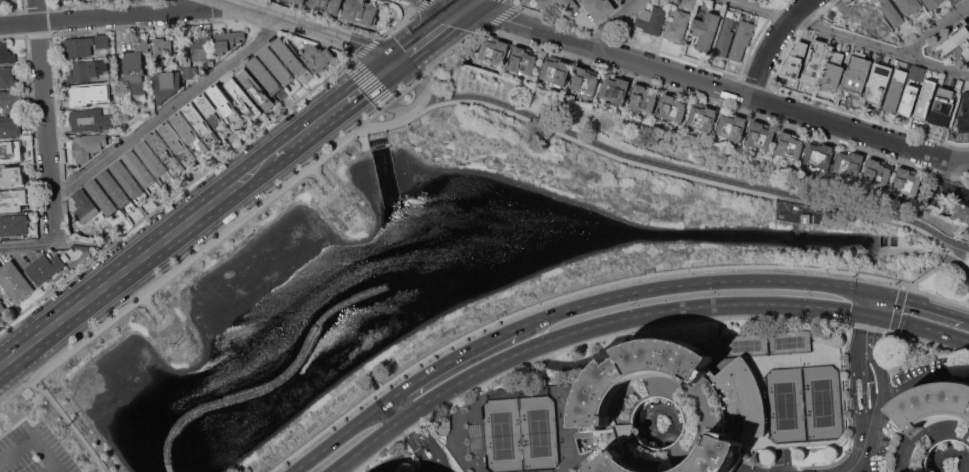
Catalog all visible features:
building: (758, 0)
building: (300, 1)
building: (955, 1)
road: (518, 2)
building: (2, 3)
road: (457, 3)
road: (473, 3)
building: (689, 3)
building: (932, 3)
building: (327, 5)
road: (421, 5)
building: (909, 5)
building: (569, 6)
traffic signals: (469, 7)
building: (599, 8)
building: (361, 12)
road: (506, 12)
building: (892, 13)
road: (114, 14)
building: (862, 15)
building: (651, 19)
road: (616, 20)
building: (968, 22)
road: (397, 24)
building: (677, 25)
road: (311, 28)
building: (705, 30)
road: (938, 33)
road: (429, 36)
building: (725, 37)
road: (850, 38)
building: (741, 39)
building: (227, 40)
road: (313, 41)
building: (100, 42)
building: (958, 42)
road: (772, 43)
building: (78, 47)
road: (367, 47)
building: (161, 48)
building: (201, 48)
building: (495, 52)
building: (6, 55)
building: (317, 58)
building: (795, 59)
building: (522, 60)
building: (292, 61)
building: (813, 61)
building: (136, 65)
traffic signals: (390, 65)
building: (277, 66)
building: (556, 70)
building: (87, 71)
building: (833, 71)
building: (190, 73)
road: (378, 73)
building: (917, 73)
building: (857, 74)
building: (265, 76)
building: (7, 77)
building: (584, 79)
road: (368, 83)
building: (879, 84)
building: (166, 85)
road: (718, 86)
building: (614, 89)
building: (896, 89)
building: (257, 90)
building: (87, 96)
building: (243, 98)
building: (642, 98)
building: (909, 99)
building: (925, 99)
building: (10, 101)
building: (226, 105)
building: (672, 107)
building: (942, 107)
road: (167, 108)
building: (964, 114)
building: (214, 115)
road: (405, 115)
building: (702, 117)
road: (45, 121)
building: (89, 121)
road: (315, 122)
building: (202, 124)
building: (9, 126)
building: (731, 126)
building: (189, 133)
building: (760, 136)
building: (177, 142)
building: (789, 145)
building: (88, 146)
building: (165, 152)
building: (11, 153)
building: (820, 154)
building: (151, 159)
building: (849, 163)
road: (676, 166)
building: (139, 168)
road: (949, 170)
building: (877, 172)
road: (318, 174)
building: (12, 176)
building: (126, 178)
building: (907, 182)
building: (114, 187)
road: (954, 189)
road: (177, 191)
building: (102, 197)
building: (12, 200)
building: (85, 207)
building: (961, 211)
road: (243, 215)
building: (806, 218)
park: (930, 219)
building: (13, 224)
road: (26, 245)
building: (85, 247)
road: (932, 250)
road: (131, 263)
building: (45, 267)
road: (935, 268)
building: (14, 281)
road: (690, 283)
road: (596, 286)
traffic signals: (873, 291)
road: (871, 302)
road: (920, 302)
road: (149, 304)
building: (2, 308)
traffic signals: (869, 314)
road: (968, 316)
road: (627, 320)
road: (919, 325)
road: (644, 327)
road: (450, 360)
road: (583, 360)
road: (921, 378)
road: (874, 396)
building: (555, 403)
park: (820, 403)
park: (785, 405)
road: (398, 406)
road: (69, 422)
building: (928, 424)
road: (342, 434)
park: (520, 434)
road: (369, 444)
road: (424, 444)
parking lot: (34, 447)
road: (16, 449)
road: (46, 454)
road: (860, 462)
road: (52, 469)

